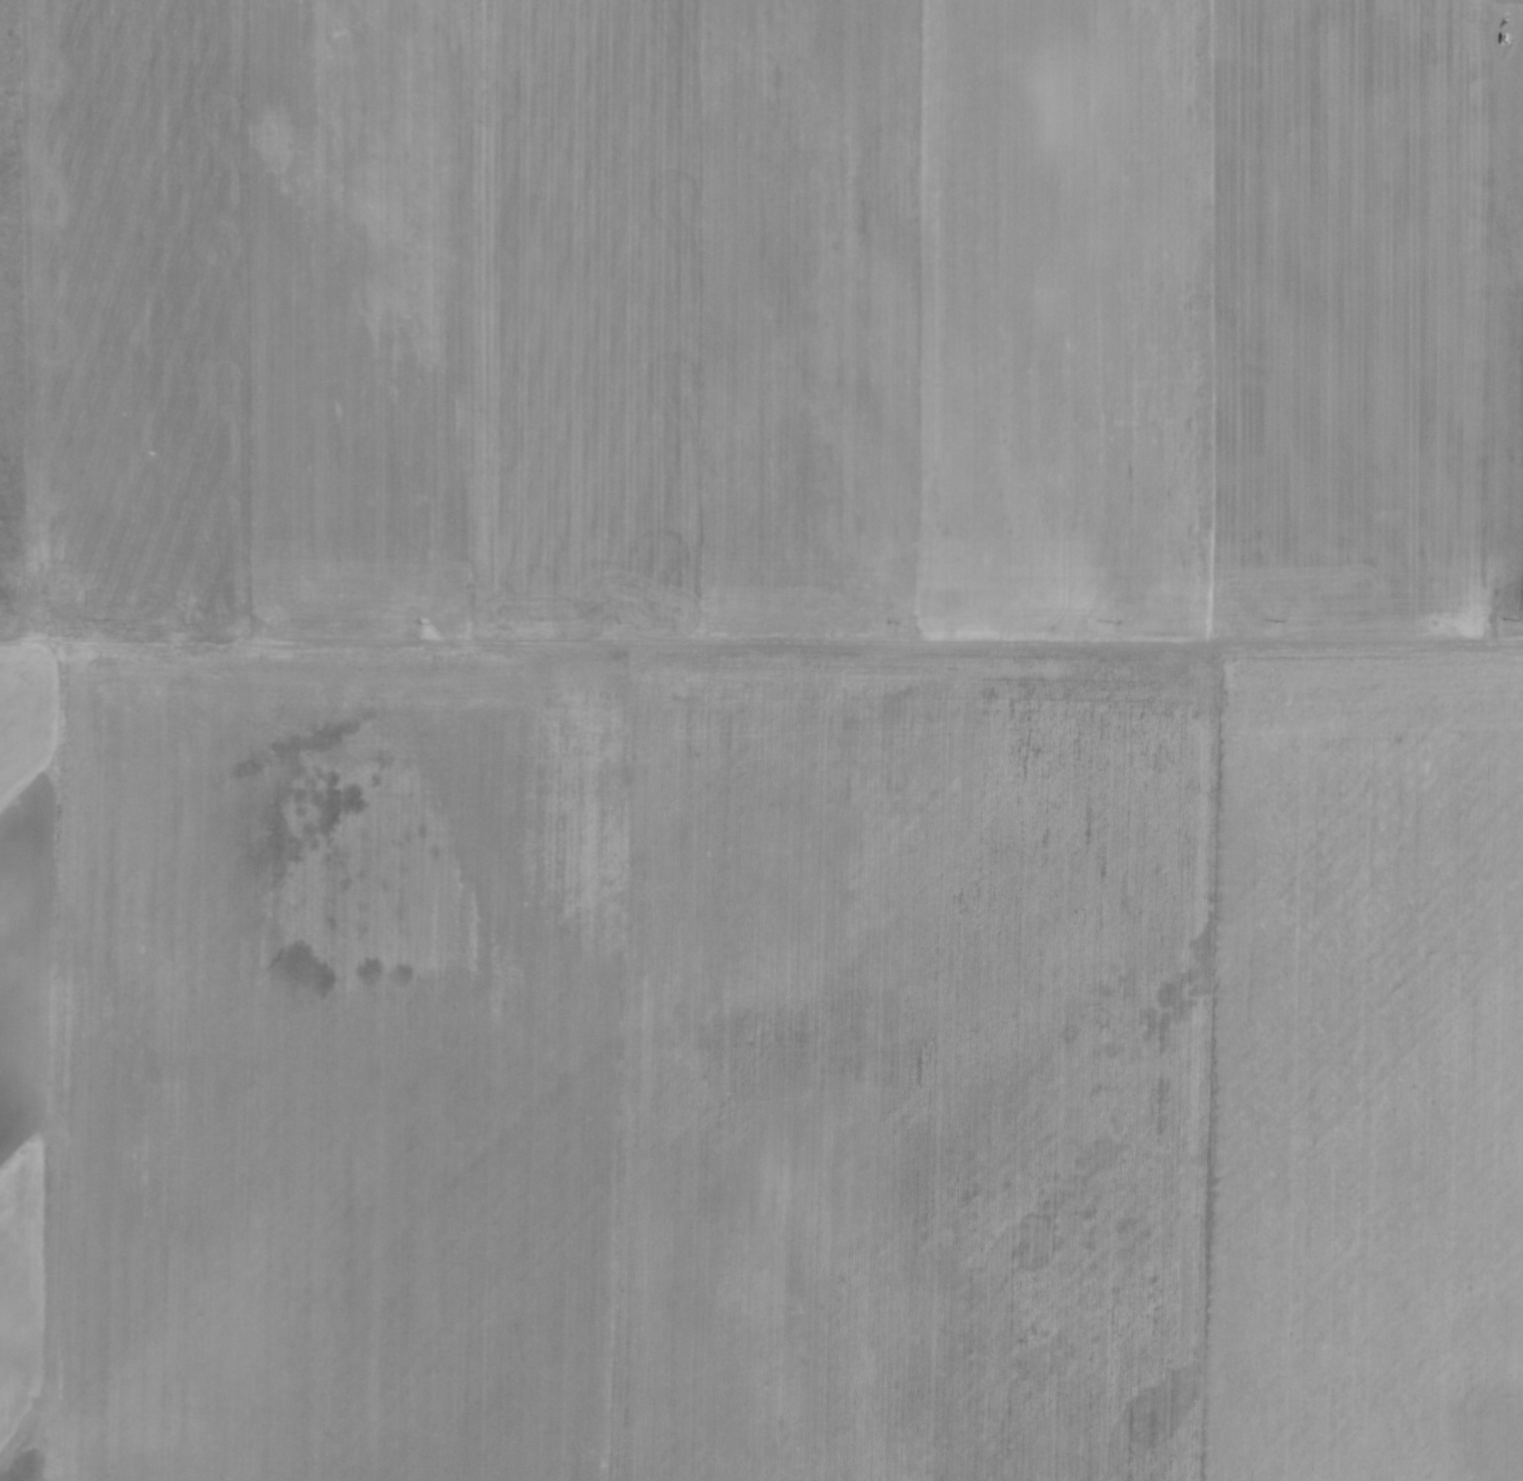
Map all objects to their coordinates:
crop: (765, 742)

